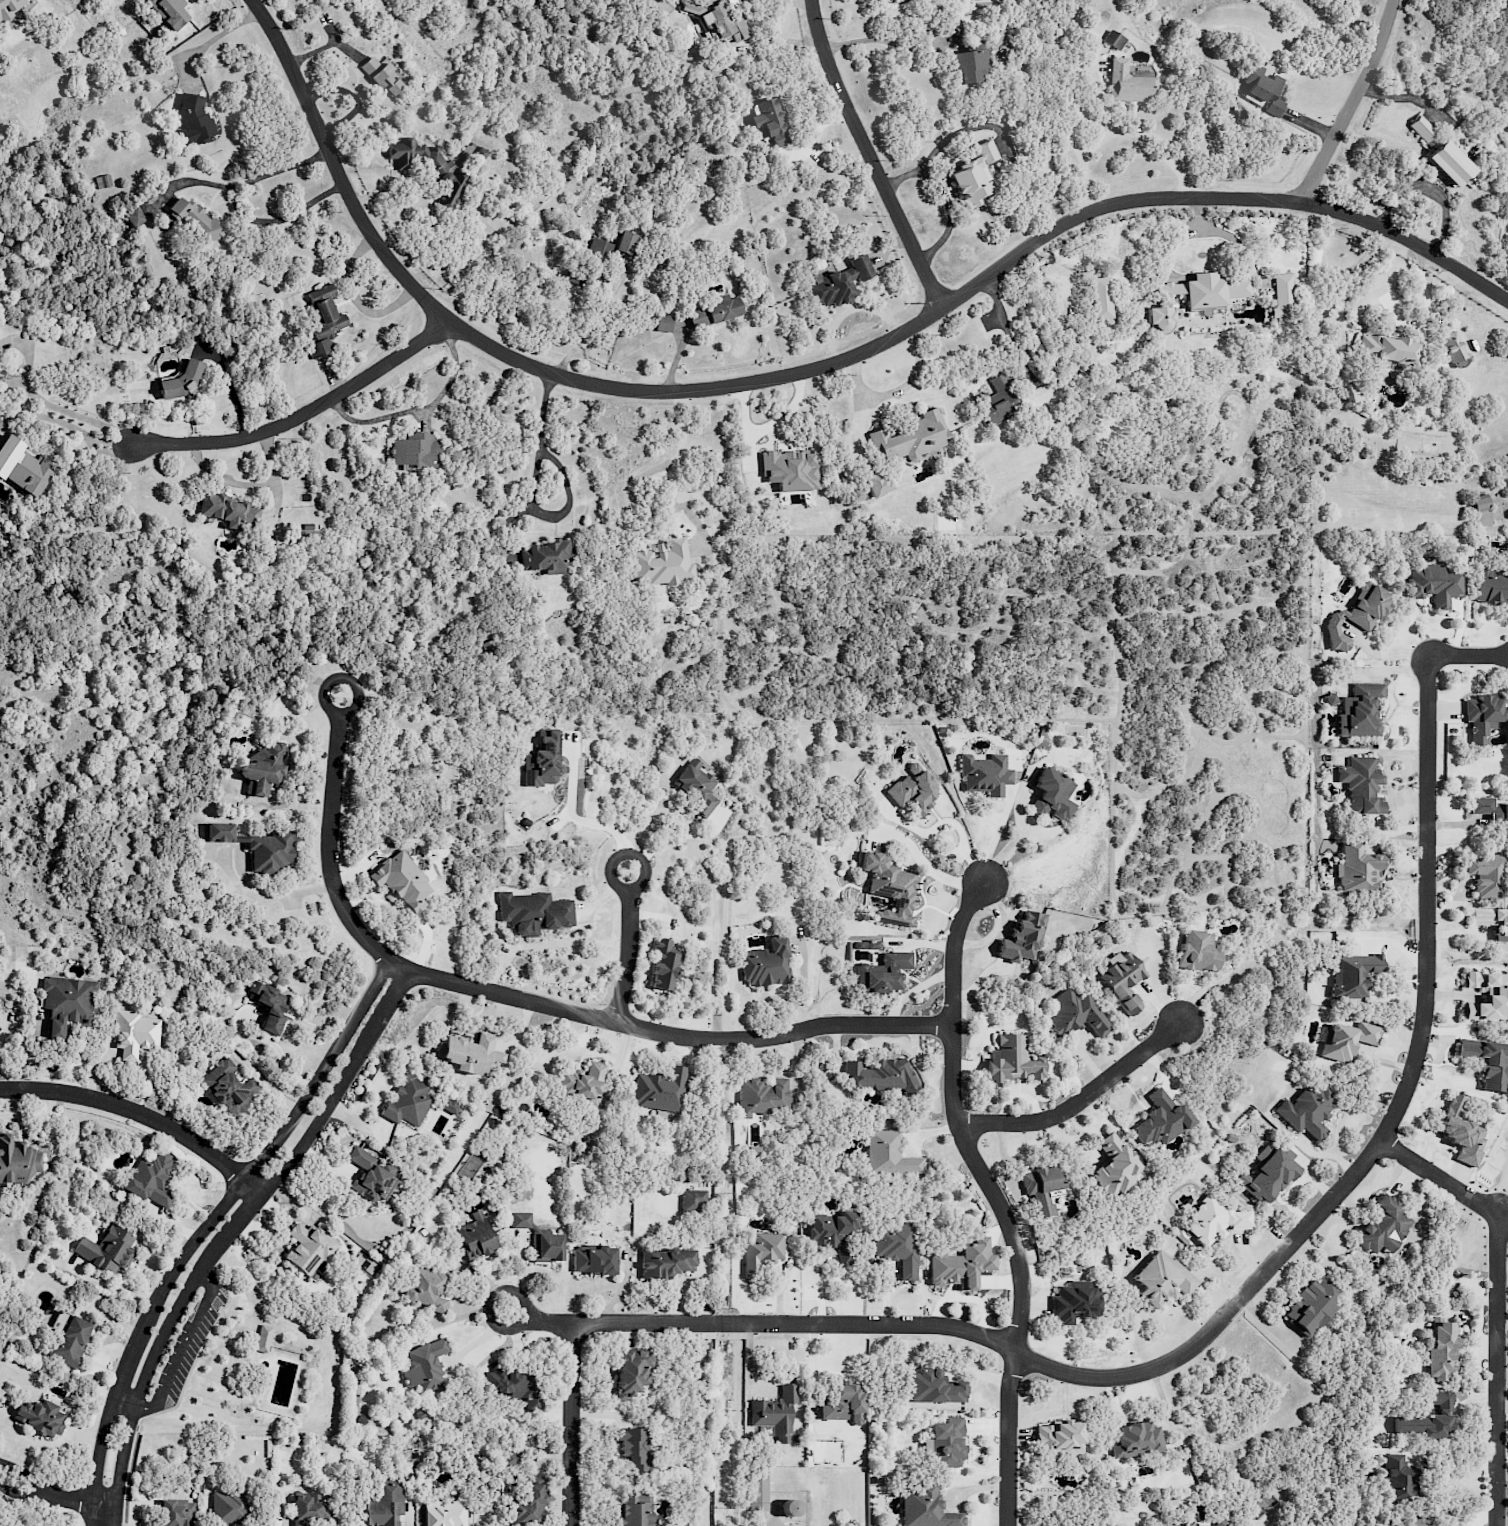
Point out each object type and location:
building: (10, 7)
building: (169, 12)
building: (716, 20)
building: (1112, 39)
road: (205, 40)
road: (892, 41)
building: (969, 66)
building: (381, 76)
building: (1128, 83)
building: (1263, 90)
road: (1352, 102)
building: (770, 119)
building: (194, 121)
building: (1421, 128)
road: (1148, 135)
road: (1073, 139)
building: (472, 155)
road: (870, 155)
building: (1449, 163)
building: (427, 168)
building: (975, 175)
building: (133, 216)
building: (194, 220)
building: (624, 242)
building: (600, 247)
building: (839, 283)
building: (1195, 295)
building: (1100, 297)
building: (1282, 297)
building: (713, 311)
building: (322, 319)
road: (1001, 319)
building: (663, 323)
building: (1451, 346)
building: (1385, 348)
building: (1034, 350)
road: (814, 370)
building: (182, 381)
road: (908, 381)
building: (998, 400)
road: (55, 406)
road: (856, 407)
road: (302, 414)
building: (910, 438)
road: (683, 443)
building: (415, 450)
building: (22, 467)
building: (789, 469)
building: (875, 482)
road: (530, 493)
building: (1480, 511)
building: (230, 512)
building: (546, 556)
building: (660, 562)
building: (1435, 583)
building: (1491, 586)
building: (1355, 614)
building: (1329, 699)
building: (1359, 710)
road: (332, 711)
building: (1482, 716)
building: (542, 761)
building: (261, 767)
building: (984, 774)
building: (1360, 785)
building: (696, 786)
building: (912, 789)
building: (1051, 795)
building: (1489, 809)
road: (579, 820)
building: (256, 847)
building: (1358, 868)
building: (1485, 874)
building: (401, 880)
road: (617, 885)
building: (888, 888)
road: (264, 896)
building: (533, 912)
building: (1492, 924)
building: (1022, 938)
building: (865, 944)
road: (546, 946)
building: (1196, 952)
road: (627, 955)
building: (765, 963)
building: (664, 964)
building: (882, 973)
building: (1352, 974)
building: (1122, 981)
building: (1486, 996)
building: (68, 1003)
road: (535, 1003)
building: (270, 1006)
building: (1075, 1013)
building: (134, 1033)
building: (1346, 1039)
building: (471, 1053)
building: (1013, 1060)
building: (1486, 1061)
building: (883, 1076)
building: (581, 1083)
building: (229, 1087)
building: (658, 1089)
building: (762, 1096)
road: (1404, 1096)
building: (407, 1101)
road: (1077, 1101)
building: (449, 1106)
building: (1306, 1109)
road: (141, 1116)
building: (1160, 1119)
building: (1460, 1131)
building: (887, 1154)
building: (17, 1160)
building: (1114, 1166)
building: (1265, 1174)
building: (151, 1176)
building: (371, 1176)
building: (1040, 1188)
road: (994, 1198)
building: (693, 1200)
building: (1214, 1219)
building: (521, 1220)
building: (1383, 1227)
road: (204, 1228)
building: (833, 1234)
road: (228, 1235)
building: (476, 1235)
building: (895, 1246)
building: (546, 1247)
building: (310, 1248)
building: (107, 1249)
building: (761, 1252)
building: (593, 1259)
building: (667, 1261)
building: (961, 1264)
building: (1161, 1277)
road: (109, 1286)
building: (426, 1289)
building: (1075, 1302)
road: (1497, 1302)
building: (1309, 1306)
road: (772, 1324)
road: (521, 1326)
building: (263, 1338)
building: (70, 1341)
parking lot: (188, 1348)
building: (1440, 1349)
road: (176, 1356)
building: (424, 1364)
building: (632, 1373)
building: (932, 1387)
building: (513, 1388)
building: (842, 1403)
building: (773, 1415)
building: (39, 1417)
building: (1428, 1418)
road: (572, 1424)
building: (1060, 1438)
building: (1136, 1439)
building: (946, 1443)
building: (633, 1449)
road: (1407, 1451)
building: (514, 1459)
road: (29, 1476)
building: (1397, 1477)
building: (757, 1492)
road: (25, 1497)
road: (85, 1500)
building: (531, 1501)
building: (381, 1504)
building: (227, 1507)
building: (634, 1508)
building: (925, 1508)
building: (309, 1510)
building: (175, 1513)
building: (444, 1514)
building: (1414, 1522)
building: (1213, 1523)

